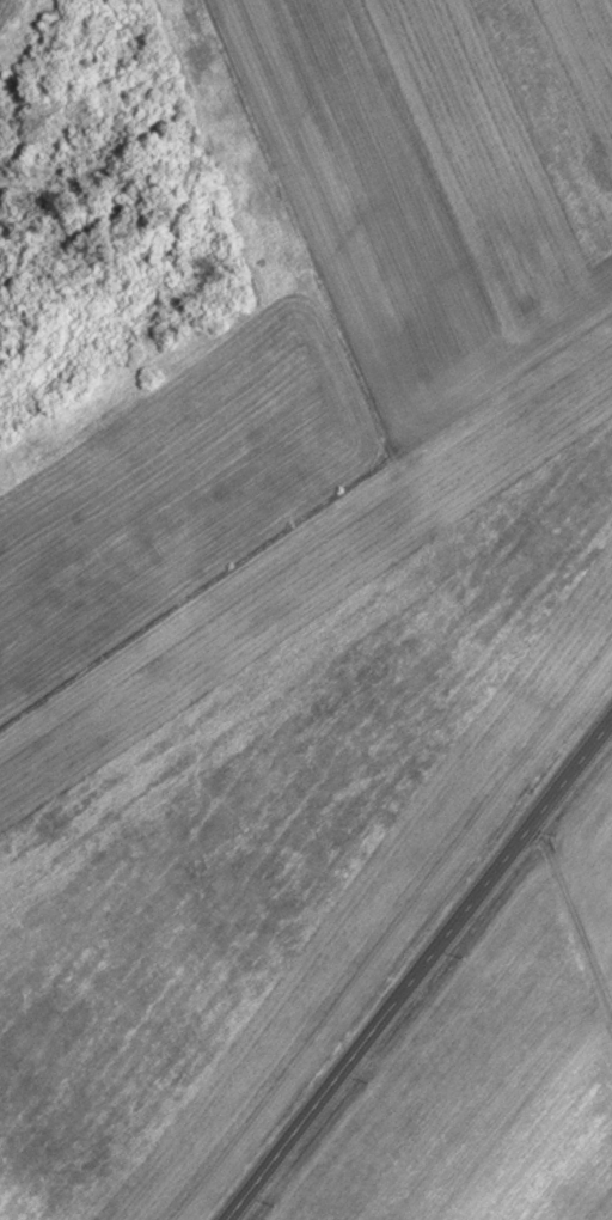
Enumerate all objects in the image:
road: (417, 966)

